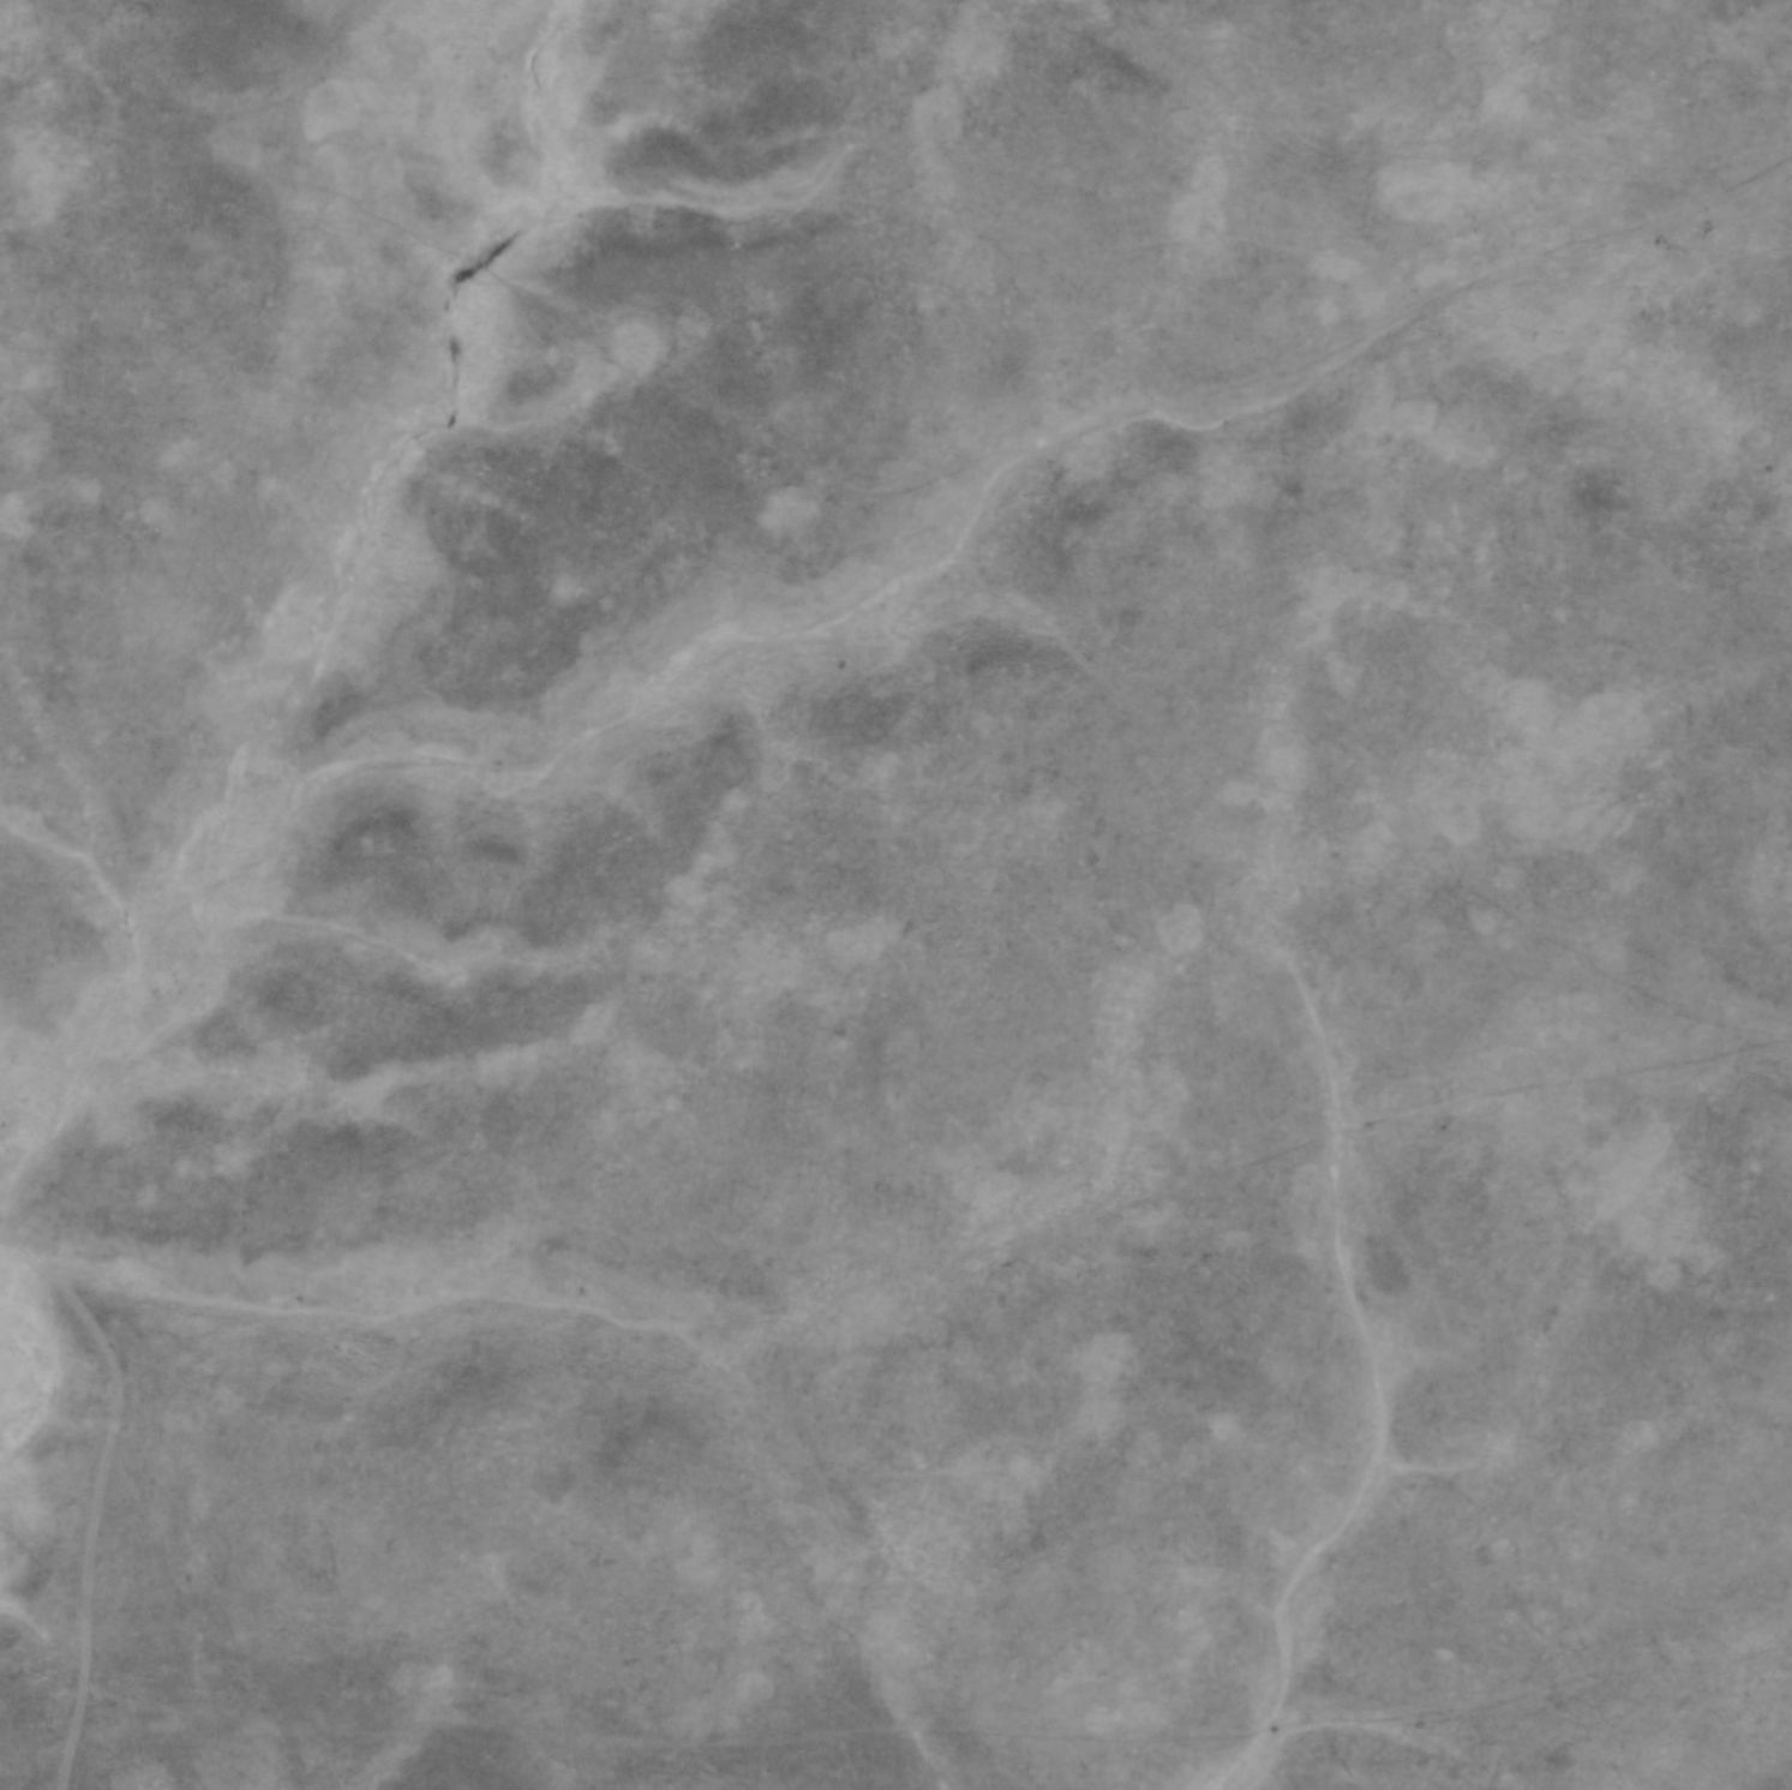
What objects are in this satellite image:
road: (103, 1487)

